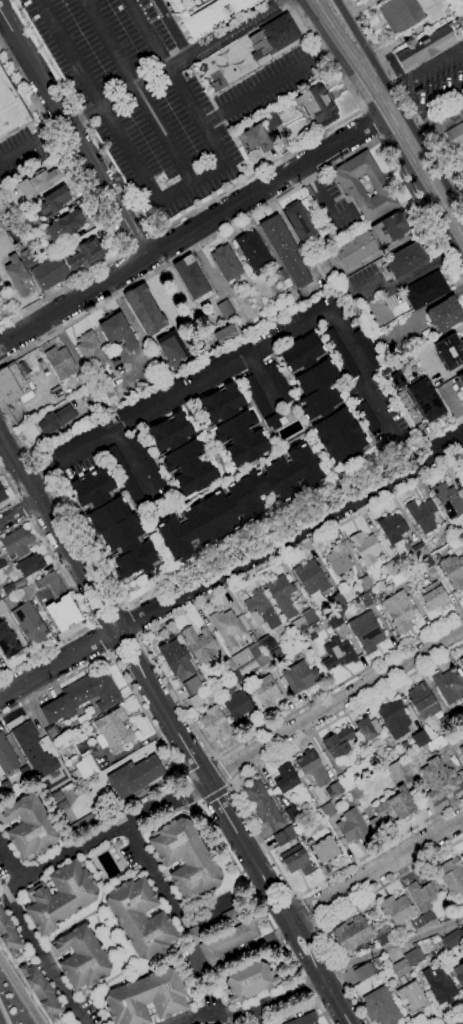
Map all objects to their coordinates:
building: (207, 13)
building: (400, 15)
road: (172, 28)
building: (274, 37)
building: (427, 46)
road: (426, 65)
road: (281, 80)
road: (143, 81)
road: (137, 91)
road: (404, 97)
parking lot: (140, 98)
road: (435, 101)
building: (318, 104)
road: (399, 106)
building: (10, 109)
railway: (395, 110)
railway: (391, 118)
building: (272, 120)
road: (371, 124)
road: (440, 125)
road: (385, 129)
road: (74, 131)
building: (456, 138)
building: (257, 139)
parking lot: (20, 152)
road: (452, 169)
building: (37, 184)
building: (351, 187)
road: (169, 196)
building: (52, 202)
road: (323, 202)
parking lot: (334, 207)
road: (99, 208)
road: (197, 208)
road: (260, 209)
building: (300, 222)
building: (64, 226)
building: (390, 228)
road: (189, 231)
road: (151, 237)
road: (138, 245)
road: (391, 246)
building: (252, 249)
building: (284, 249)
road: (156, 250)
building: (355, 250)
road: (126, 251)
building: (407, 260)
road: (134, 263)
building: (226, 263)
building: (66, 264)
road: (164, 264)
building: (17, 277)
road: (142, 277)
building: (281, 278)
building: (194, 280)
road: (404, 282)
building: (425, 290)
building: (224, 308)
building: (144, 310)
building: (444, 315)
road: (133, 322)
building: (118, 331)
building: (225, 333)
building: (171, 349)
building: (367, 350)
building: (90, 351)
building: (449, 352)
building: (341, 353)
road: (256, 354)
building: (60, 363)
building: (181, 380)
building: (12, 382)
building: (280, 384)
building: (459, 384)
building: (257, 397)
building: (323, 400)
building: (426, 400)
building: (56, 420)
building: (235, 426)
building: (78, 439)
building: (181, 454)
building: (148, 466)
building: (130, 482)
road: (13, 491)
building: (2, 495)
road: (18, 499)
building: (449, 500)
building: (241, 503)
road: (42, 506)
road: (24, 508)
road: (19, 510)
building: (423, 515)
road: (29, 517)
building: (113, 524)
building: (393, 528)
building: (17, 542)
building: (367, 547)
building: (339, 560)
building: (2, 562)
building: (30, 564)
road: (230, 565)
building: (391, 567)
road: (189, 568)
building: (453, 570)
building: (311, 577)
building: (20, 583)
building: (51, 583)
building: (9, 589)
building: (25, 593)
building: (282, 595)
building: (434, 596)
building: (0, 598)
road: (79, 601)
building: (10, 602)
road: (125, 605)
building: (2, 608)
building: (262, 609)
building: (400, 611)
building: (64, 613)
road: (109, 616)
road: (129, 620)
building: (29, 622)
road: (93, 624)
road: (121, 624)
building: (228, 628)
road: (109, 631)
building: (367, 632)
road: (138, 635)
road: (101, 638)
building: (8, 641)
road: (122, 642)
building: (201, 644)
road: (108, 653)
building: (339, 653)
building: (249, 657)
building: (175, 659)
road: (154, 661)
building: (461, 662)
building: (0, 663)
building: (301, 677)
building: (192, 686)
building: (448, 686)
building: (93, 690)
building: (266, 692)
building: (422, 701)
road: (334, 704)
building: (238, 706)
building: (58, 709)
building: (83, 718)
building: (394, 719)
building: (215, 723)
building: (368, 727)
building: (114, 729)
building: (420, 738)
building: (338, 743)
building: (34, 749)
building: (461, 749)
building: (7, 755)
road: (213, 757)
building: (87, 766)
building: (312, 767)
building: (397, 768)
road: (220, 771)
building: (24, 772)
road: (201, 772)
building: (136, 776)
building: (286, 778)
building: (439, 780)
road: (188, 785)
road: (230, 785)
building: (4, 786)
road: (215, 793)
building: (263, 805)
road: (240, 807)
building: (394, 807)
road: (167, 812)
building: (292, 813)
building: (28, 827)
building: (352, 827)
road: (136, 834)
building: (281, 838)
building: (116, 842)
building: (325, 850)
building: (462, 854)
building: (185, 858)
building: (296, 861)
road: (11, 862)
road: (39, 870)
road: (372, 872)
building: (451, 876)
road: (167, 893)
road: (294, 894)
building: (420, 895)
building: (59, 896)
road: (281, 904)
building: (395, 908)
road: (342, 909)
road: (303, 911)
road: (266, 913)
building: (139, 917)
building: (229, 917)
building: (427, 917)
road: (296, 920)
building: (417, 923)
road: (284, 927)
road: (316, 927)
building: (461, 931)
building: (351, 933)
building: (193, 934)
building: (382, 936)
building: (9, 937)
building: (451, 939)
building: (226, 942)
road: (392, 946)
building: (412, 956)
building: (80, 958)
road: (233, 958)
building: (371, 967)
building: (398, 967)
building: (361, 972)
building: (458, 973)
building: (248, 981)
building: (438, 985)
building: (41, 991)
building: (145, 997)
building: (411, 997)
road: (337, 1002)
building: (379, 1007)
road: (250, 1009)
road: (5, 1012)
road: (443, 1016)
building: (303, 1019)

